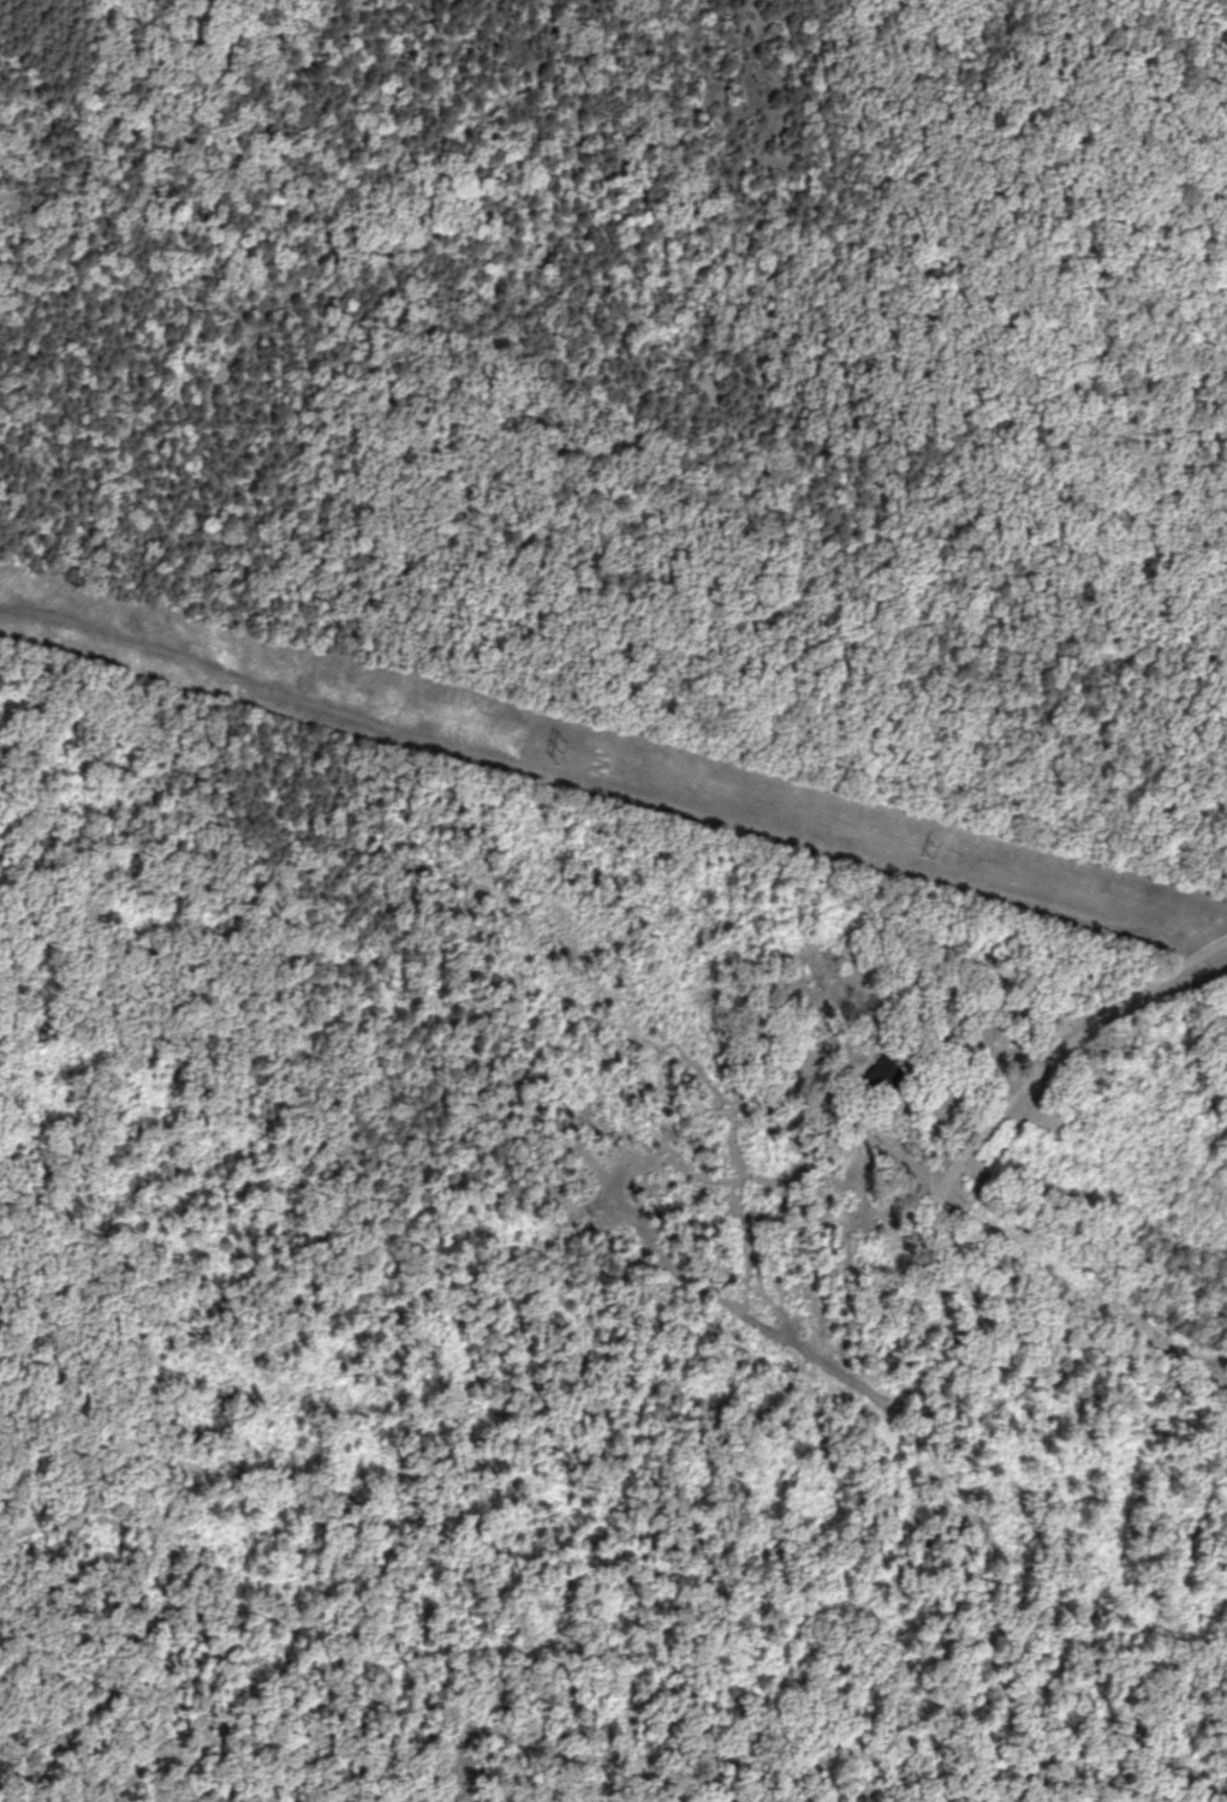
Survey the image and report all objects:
road: (1149, 995)
building: (875, 1070)
road: (963, 1277)

